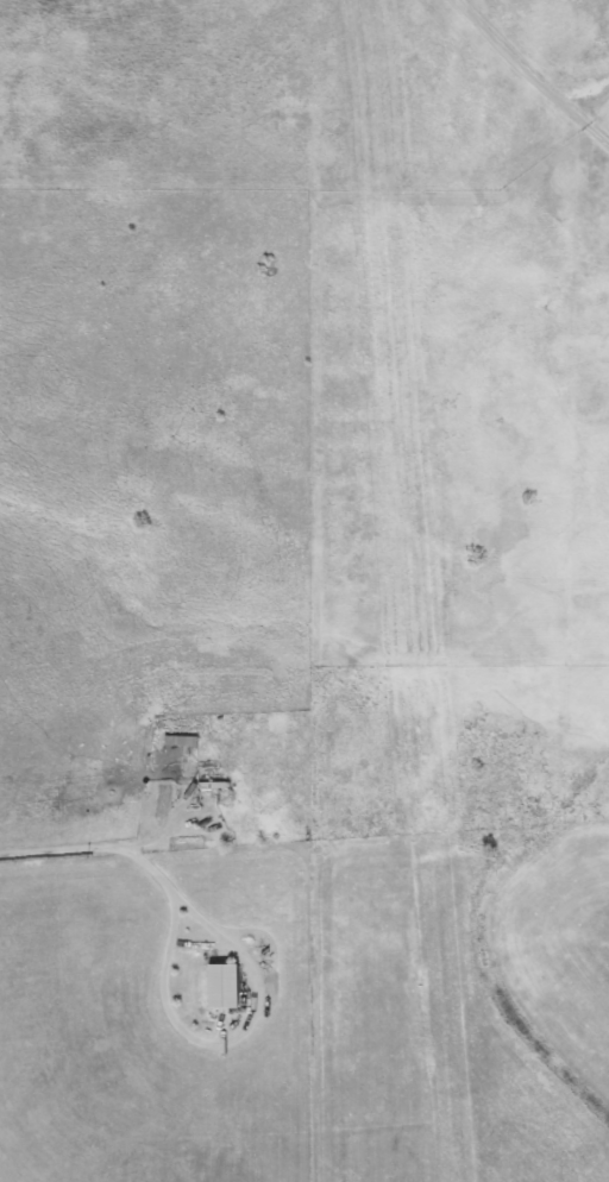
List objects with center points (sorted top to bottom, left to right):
road: (529, 75)
building: (181, 741)
road: (93, 849)
building: (222, 986)
road: (225, 1042)

